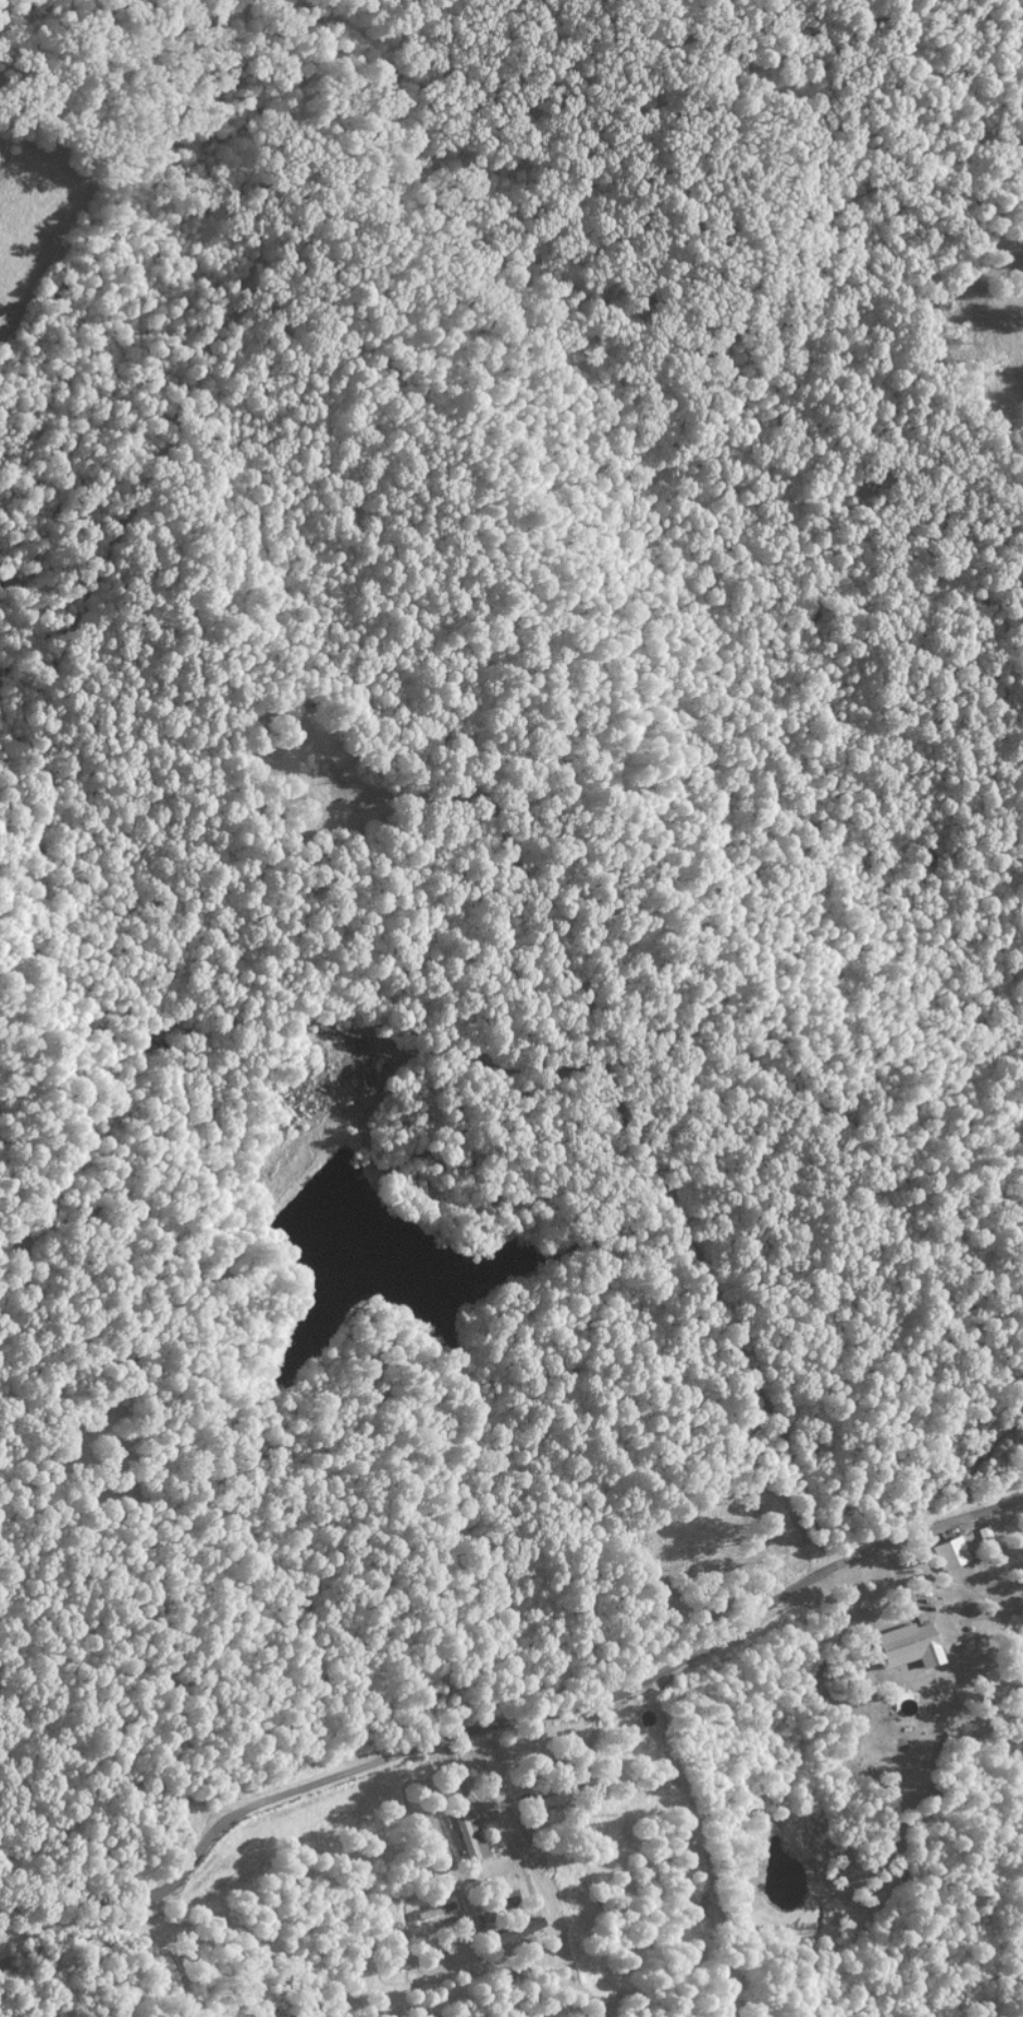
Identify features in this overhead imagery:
building: (948, 1554)
building: (905, 1646)
road: (512, 1722)
building: (469, 1835)
building: (518, 1930)

